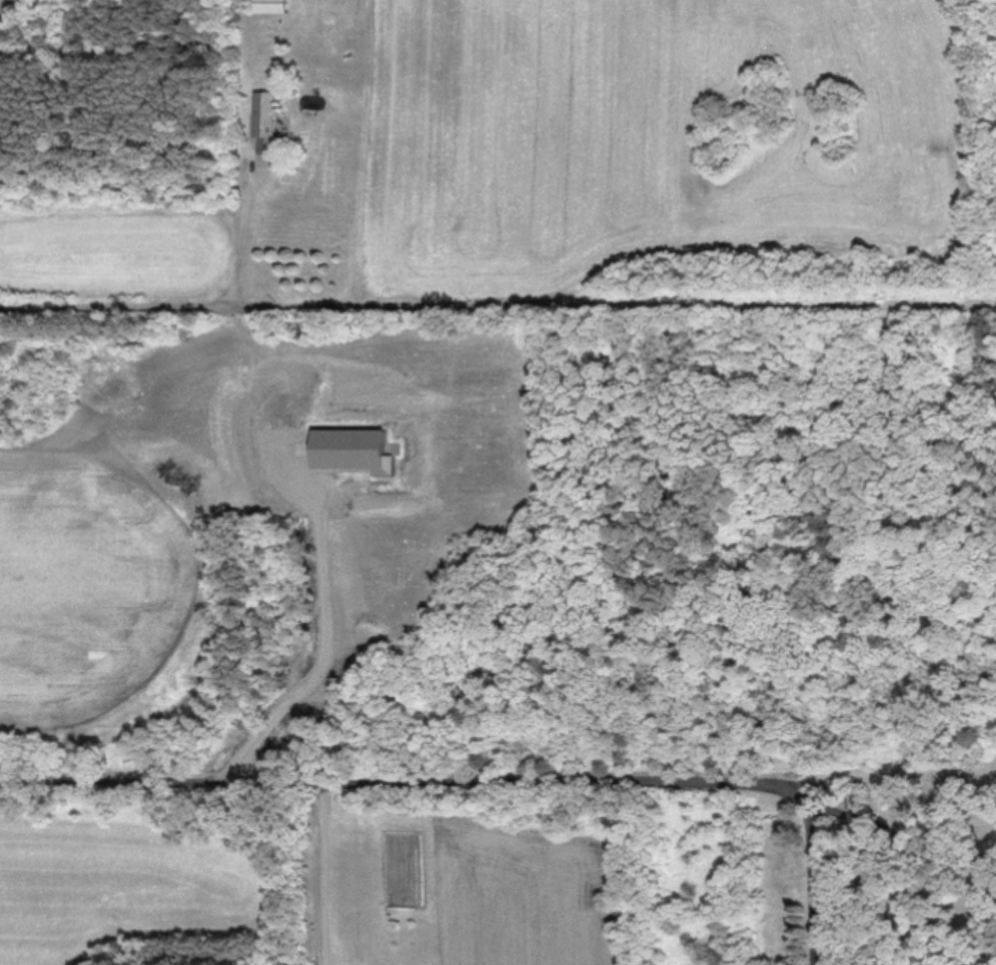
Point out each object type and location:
building: (269, 7)
building: (266, 131)
road: (245, 230)
road: (497, 305)
road: (326, 657)
road: (498, 780)
road: (892, 836)
road: (324, 873)
road: (810, 876)

